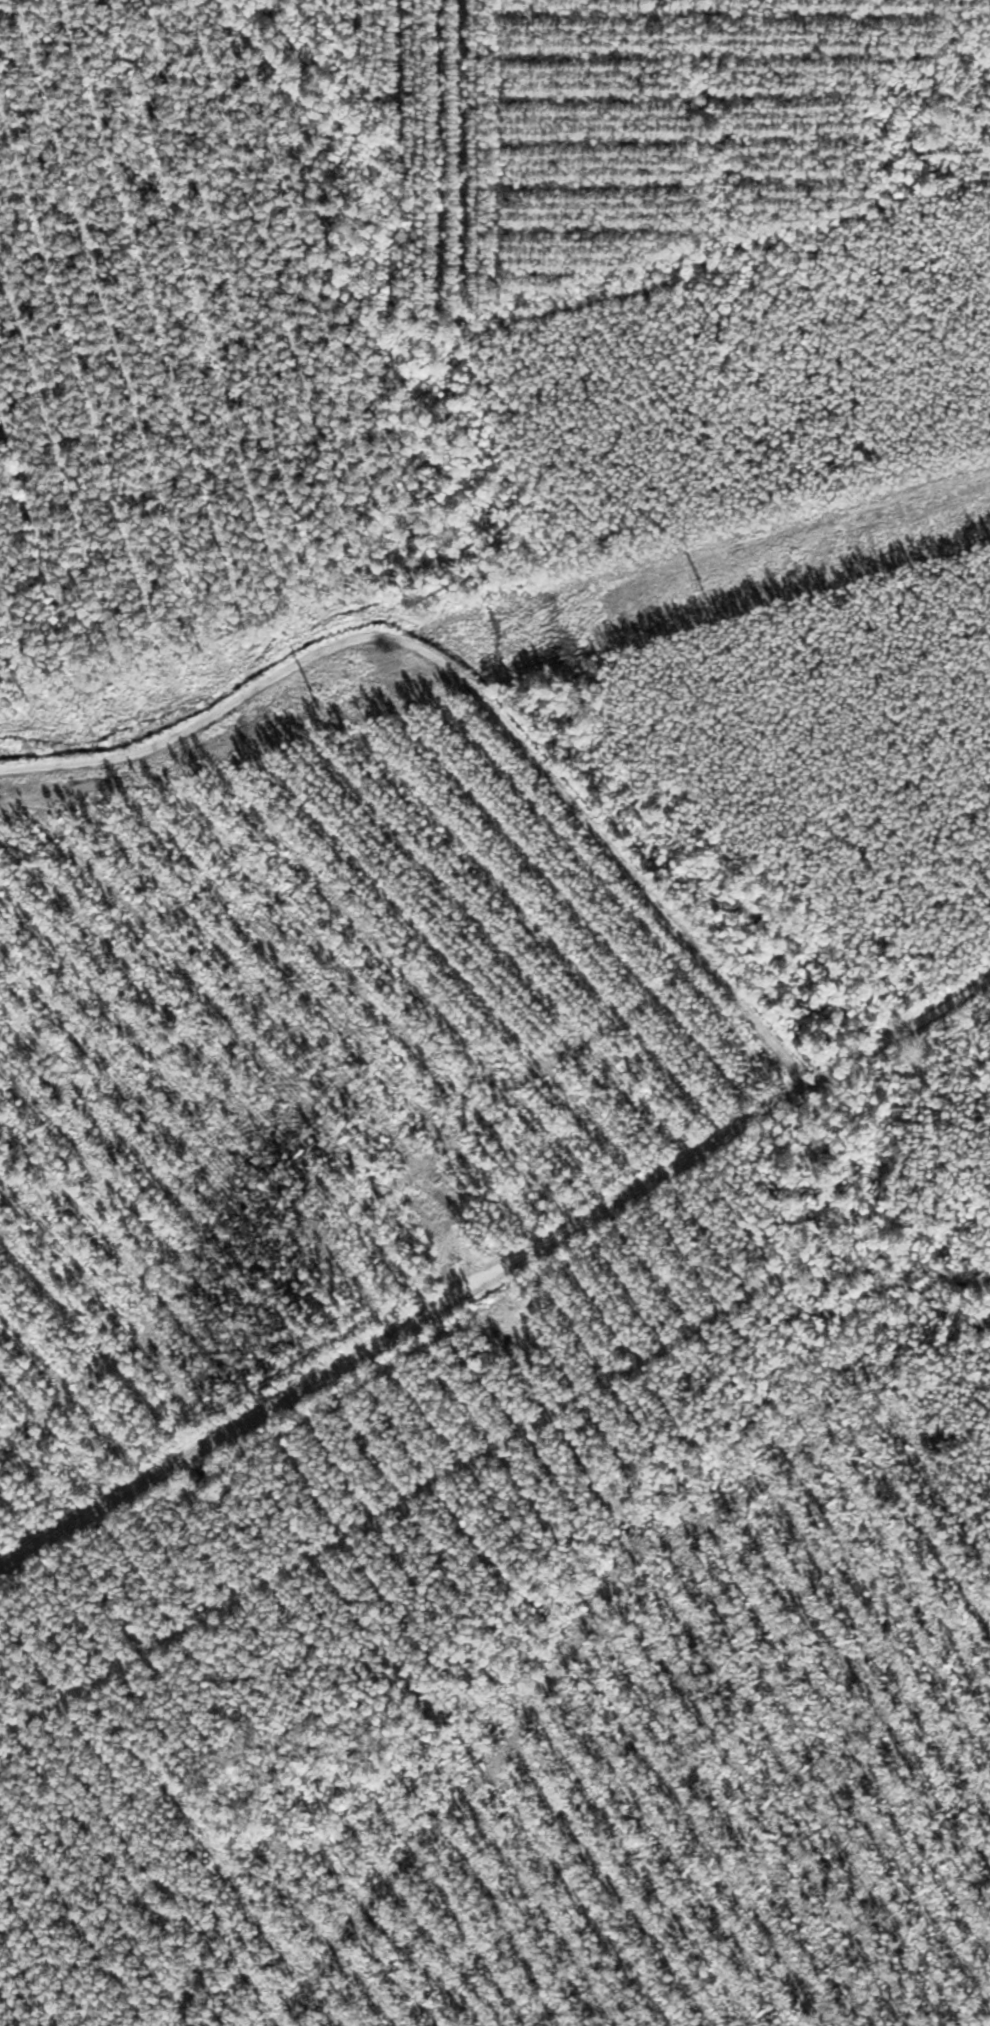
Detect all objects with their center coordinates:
road: (538, 713)
building: (929, 1072)
road: (431, 1290)

